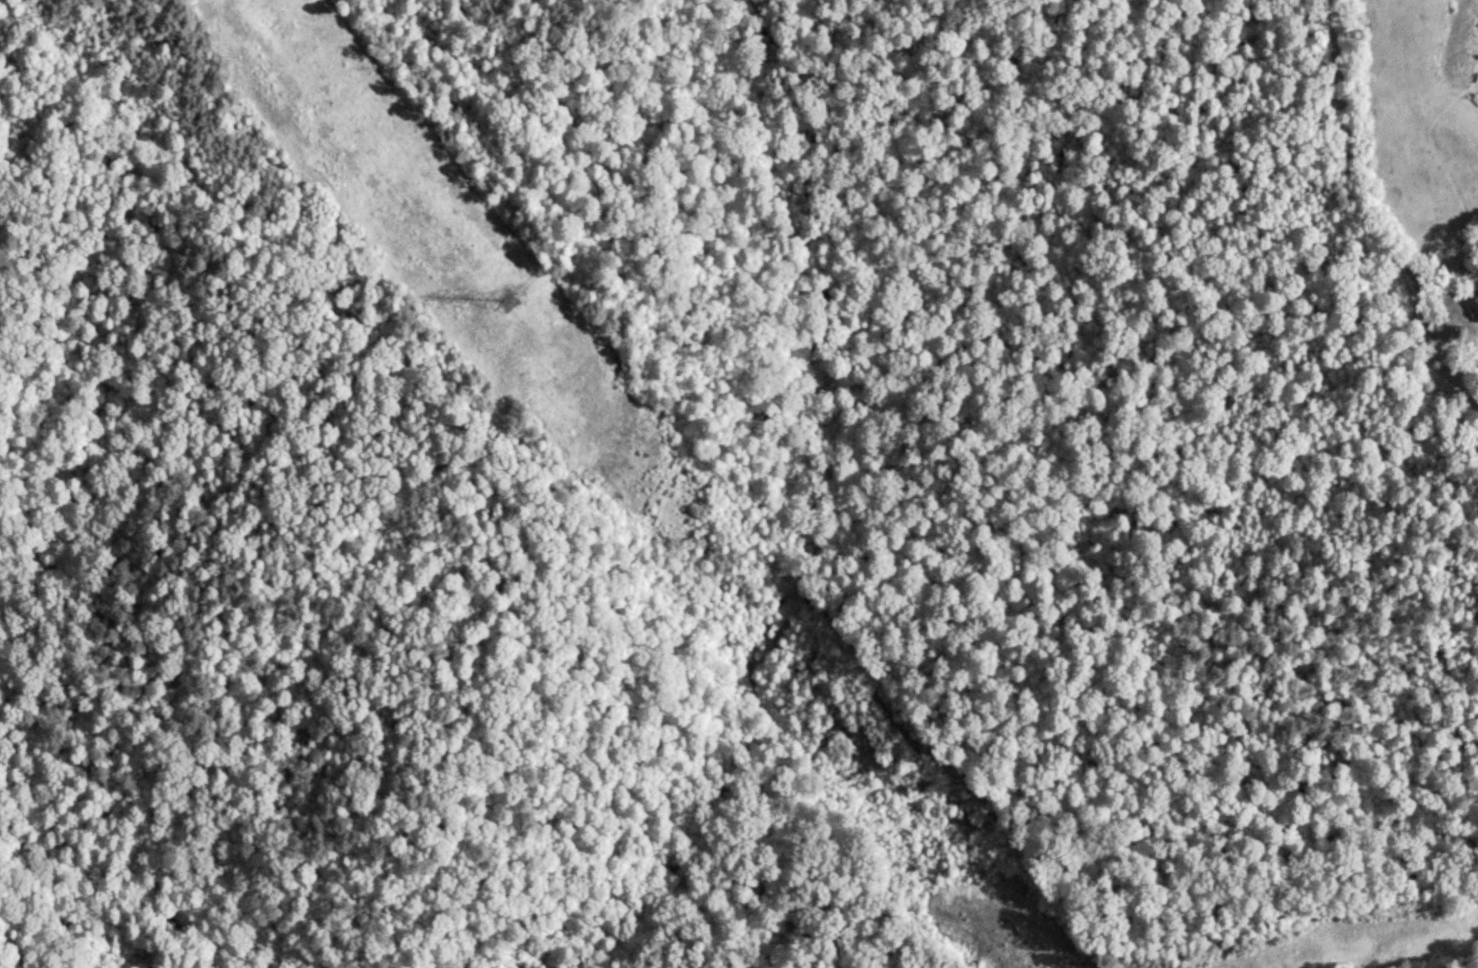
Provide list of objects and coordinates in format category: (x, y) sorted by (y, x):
road: (1406, 215)
building: (1475, 306)

